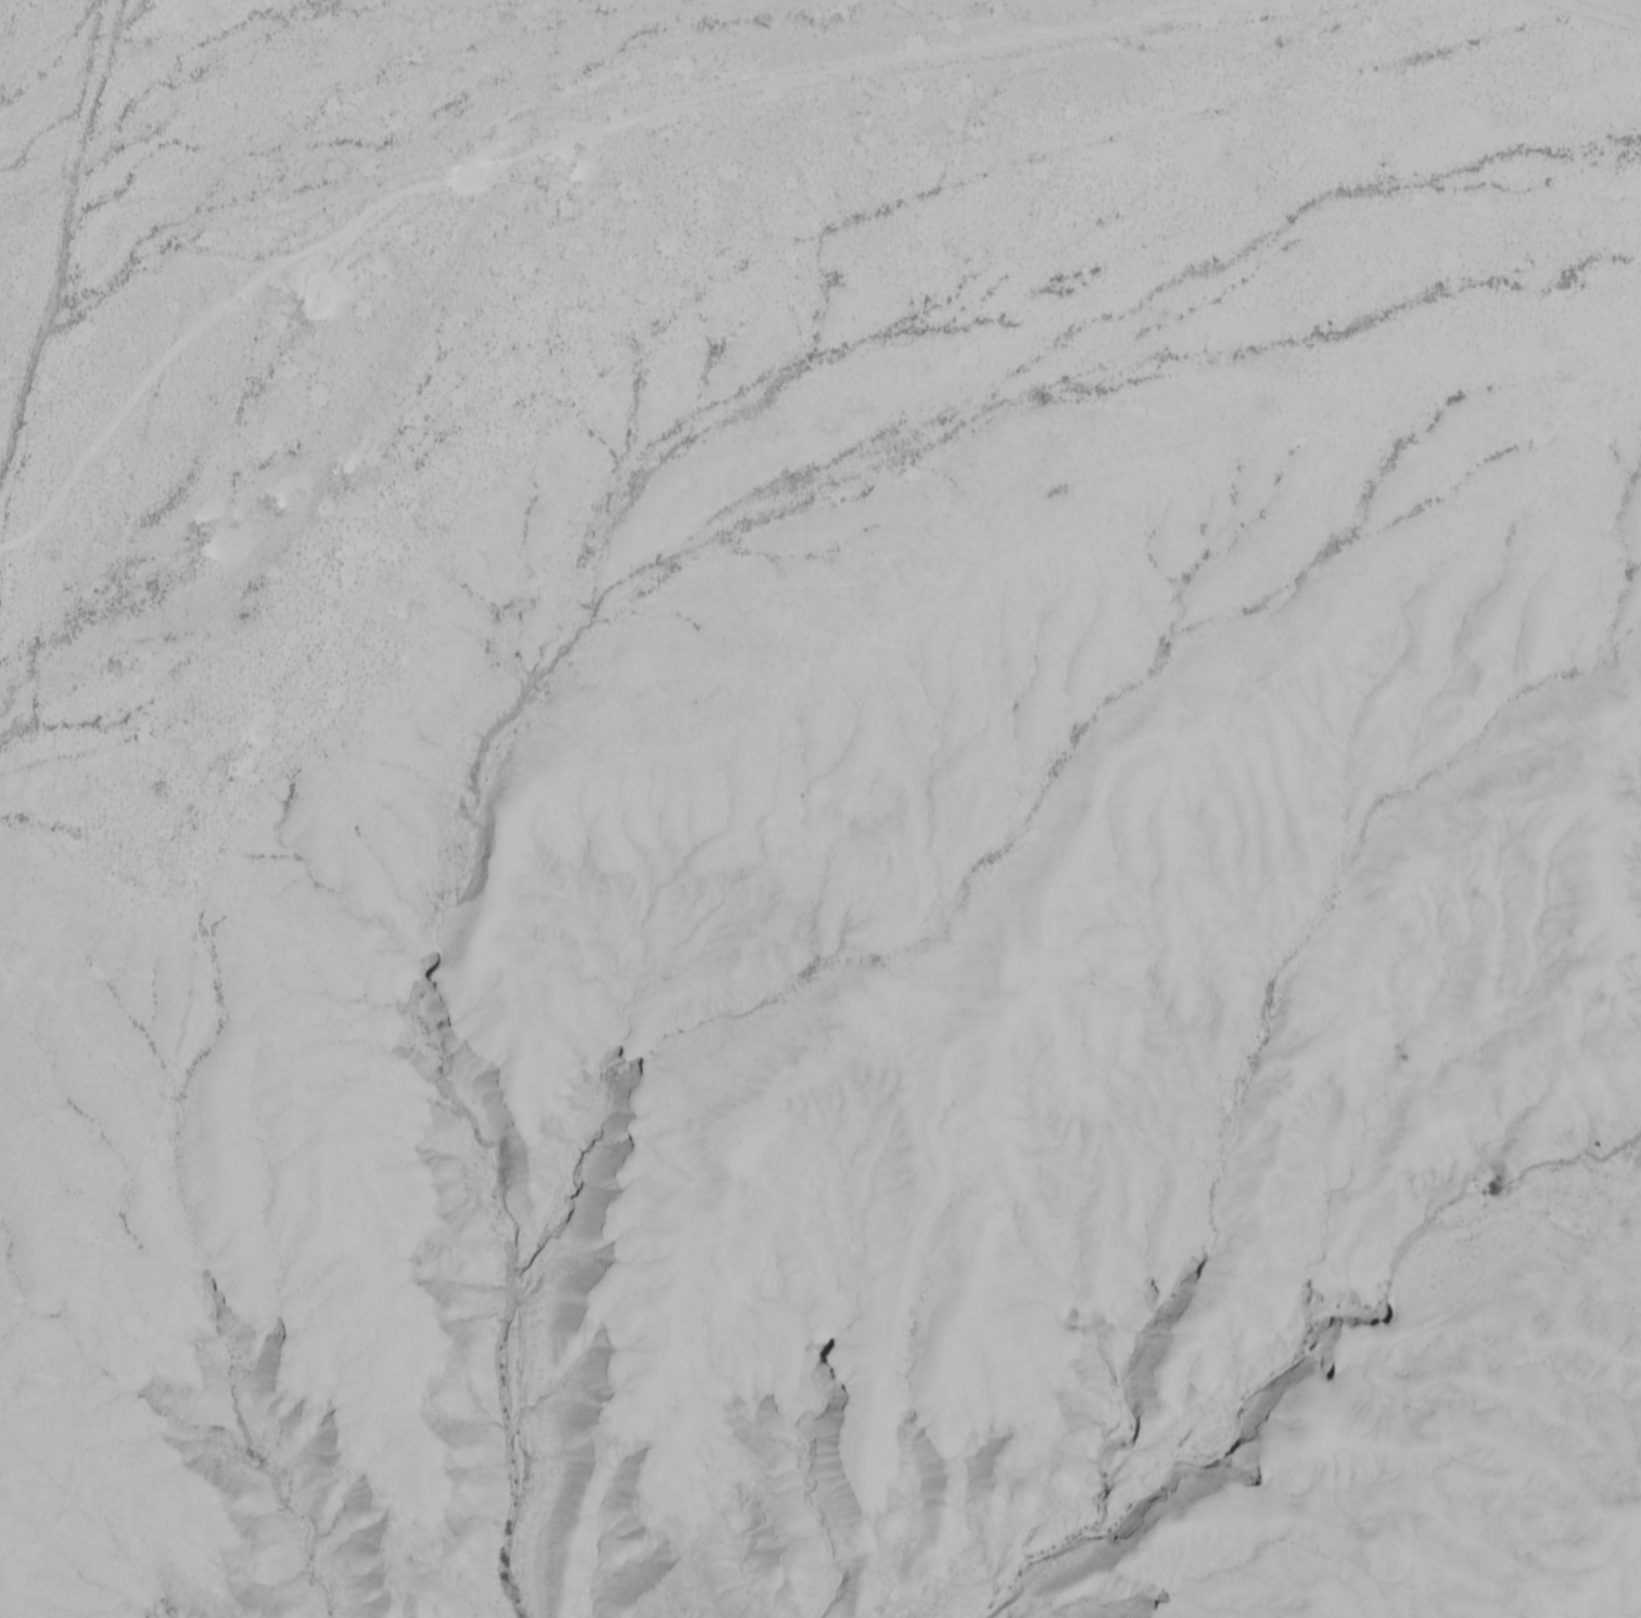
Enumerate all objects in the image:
road: (1620, 5)

